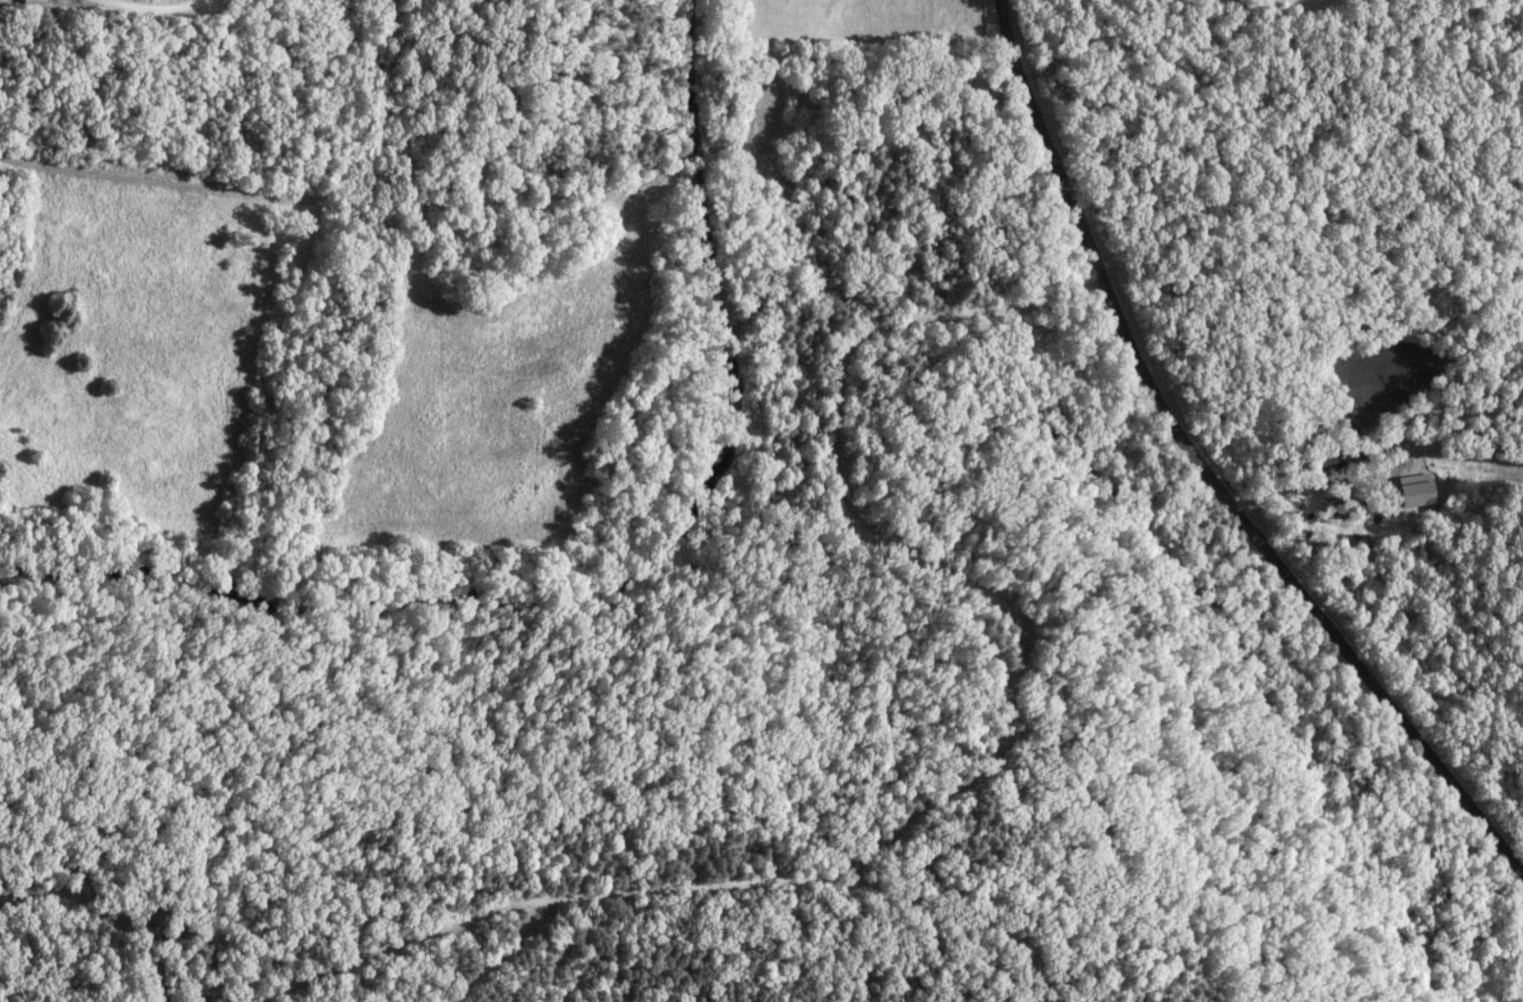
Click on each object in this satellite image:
road: (114, 1)
road: (152, 5)
road: (837, 61)
road: (362, 201)
road: (1207, 469)
building: (1399, 480)
road: (995, 759)
road: (956, 919)
road: (502, 954)

